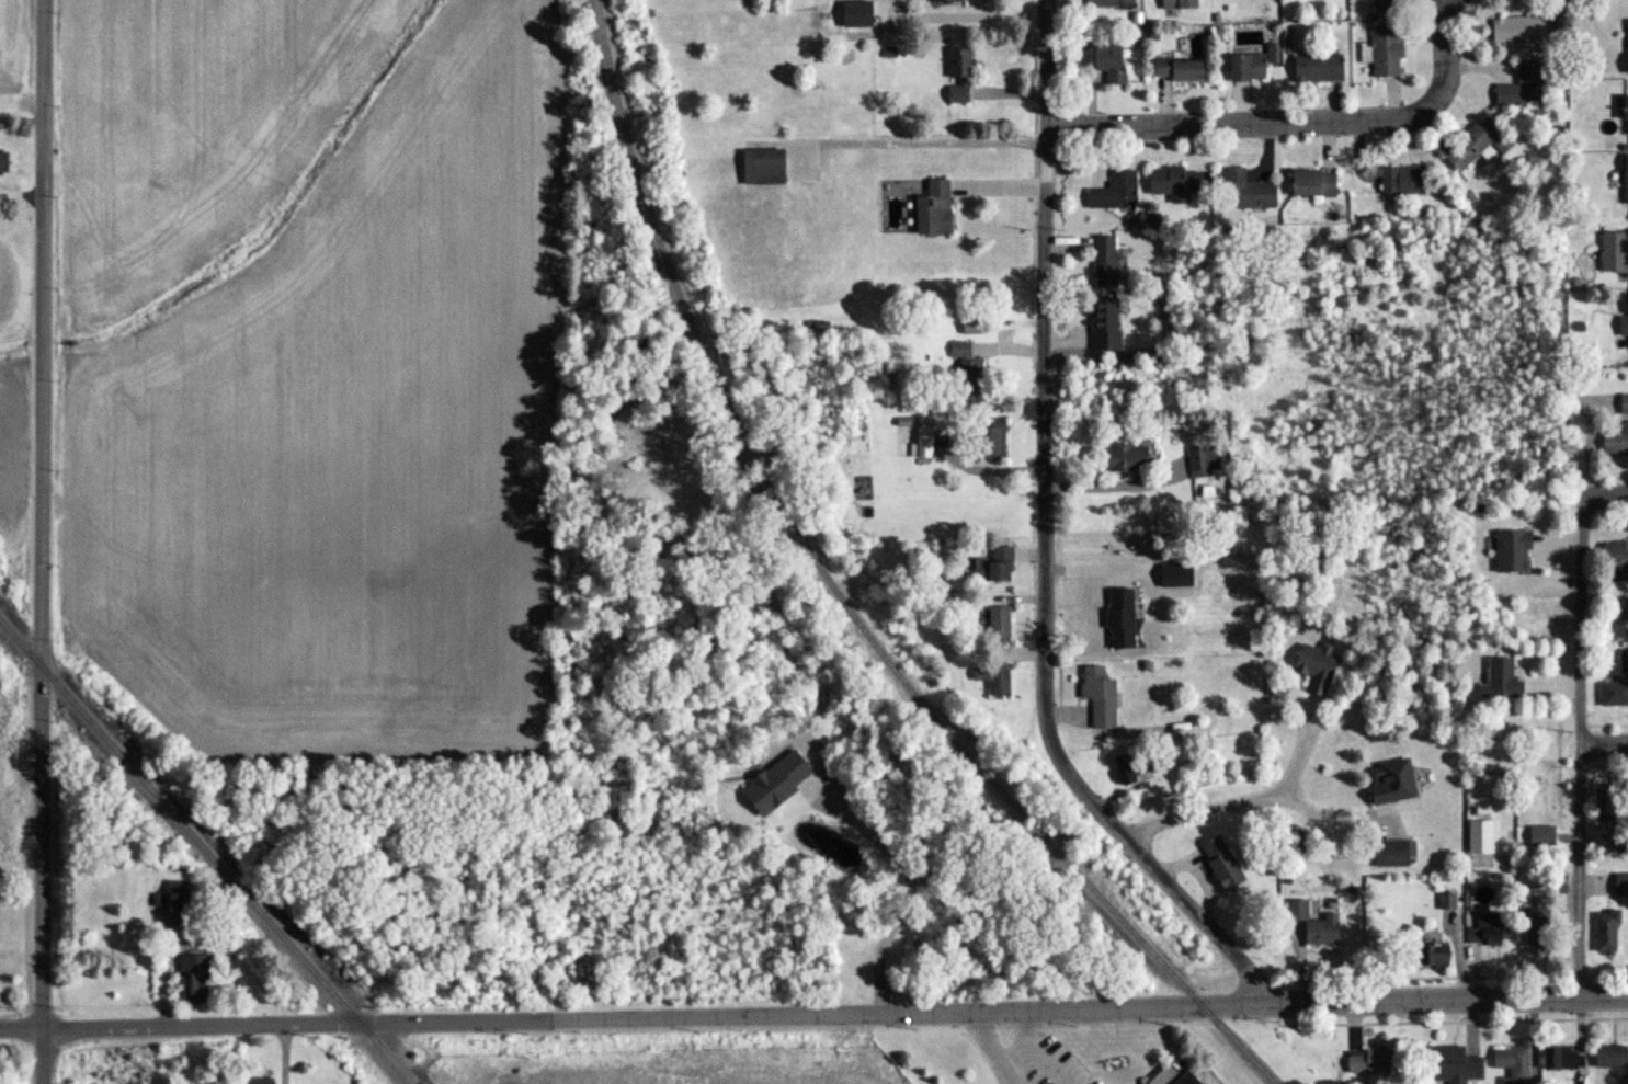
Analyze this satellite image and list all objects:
building: (946, 1)
building: (1107, 3)
building: (1177, 3)
building: (1385, 7)
building: (1516, 30)
building: (1626, 47)
building: (1384, 50)
building: (1108, 64)
building: (1244, 67)
building: (1317, 68)
building: (1175, 69)
building: (958, 76)
building: (1519, 88)
building: (1624, 116)
road: (1296, 122)
building: (1476, 145)
building: (2, 163)
building: (761, 168)
building: (1400, 180)
building: (1625, 180)
building: (1173, 183)
building: (1311, 183)
building: (1243, 191)
building: (1113, 193)
building: (932, 209)
building: (1614, 254)
building: (1104, 262)
building: (1627, 315)
building: (1103, 326)
building: (964, 368)
building: (1624, 404)
building: (986, 441)
building: (1615, 441)
building: (922, 443)
building: (1125, 457)
building: (1200, 460)
road: (1106, 491)
road: (1614, 493)
railway: (776, 513)
road: (42, 514)
road: (1041, 541)
building: (1510, 552)
building: (1616, 559)
building: (992, 567)
building: (998, 623)
building: (1089, 632)
building: (1129, 650)
building: (1623, 661)
building: (1314, 667)
building: (990, 673)
building: (1499, 681)
building: (1613, 694)
building: (1098, 696)
road: (1608, 744)
road: (1589, 745)
building: (1130, 764)
building: (1390, 780)
building: (1601, 805)
road: (1250, 806)
road: (1329, 819)
building: (1479, 835)
building: (1540, 835)
railway: (206, 853)
building: (1389, 853)
building: (1218, 860)
road: (886, 883)
building: (1556, 883)
building: (1620, 883)
building: (1446, 901)
building: (172, 902)
building: (1312, 924)
building: (1537, 927)
building: (1489, 931)
building: (1605, 931)
building: (1433, 952)
building: (192, 978)
railway: (1203, 1006)
road: (835, 1013)
road: (21, 1029)
road: (992, 1048)
road: (1028, 1053)
road: (43, 1057)
building: (1558, 1057)
building: (1609, 1057)
building: (1366, 1060)
building: (1511, 1063)
building: (1451, 1064)
building: (1170, 1076)
building: (264, 1081)

